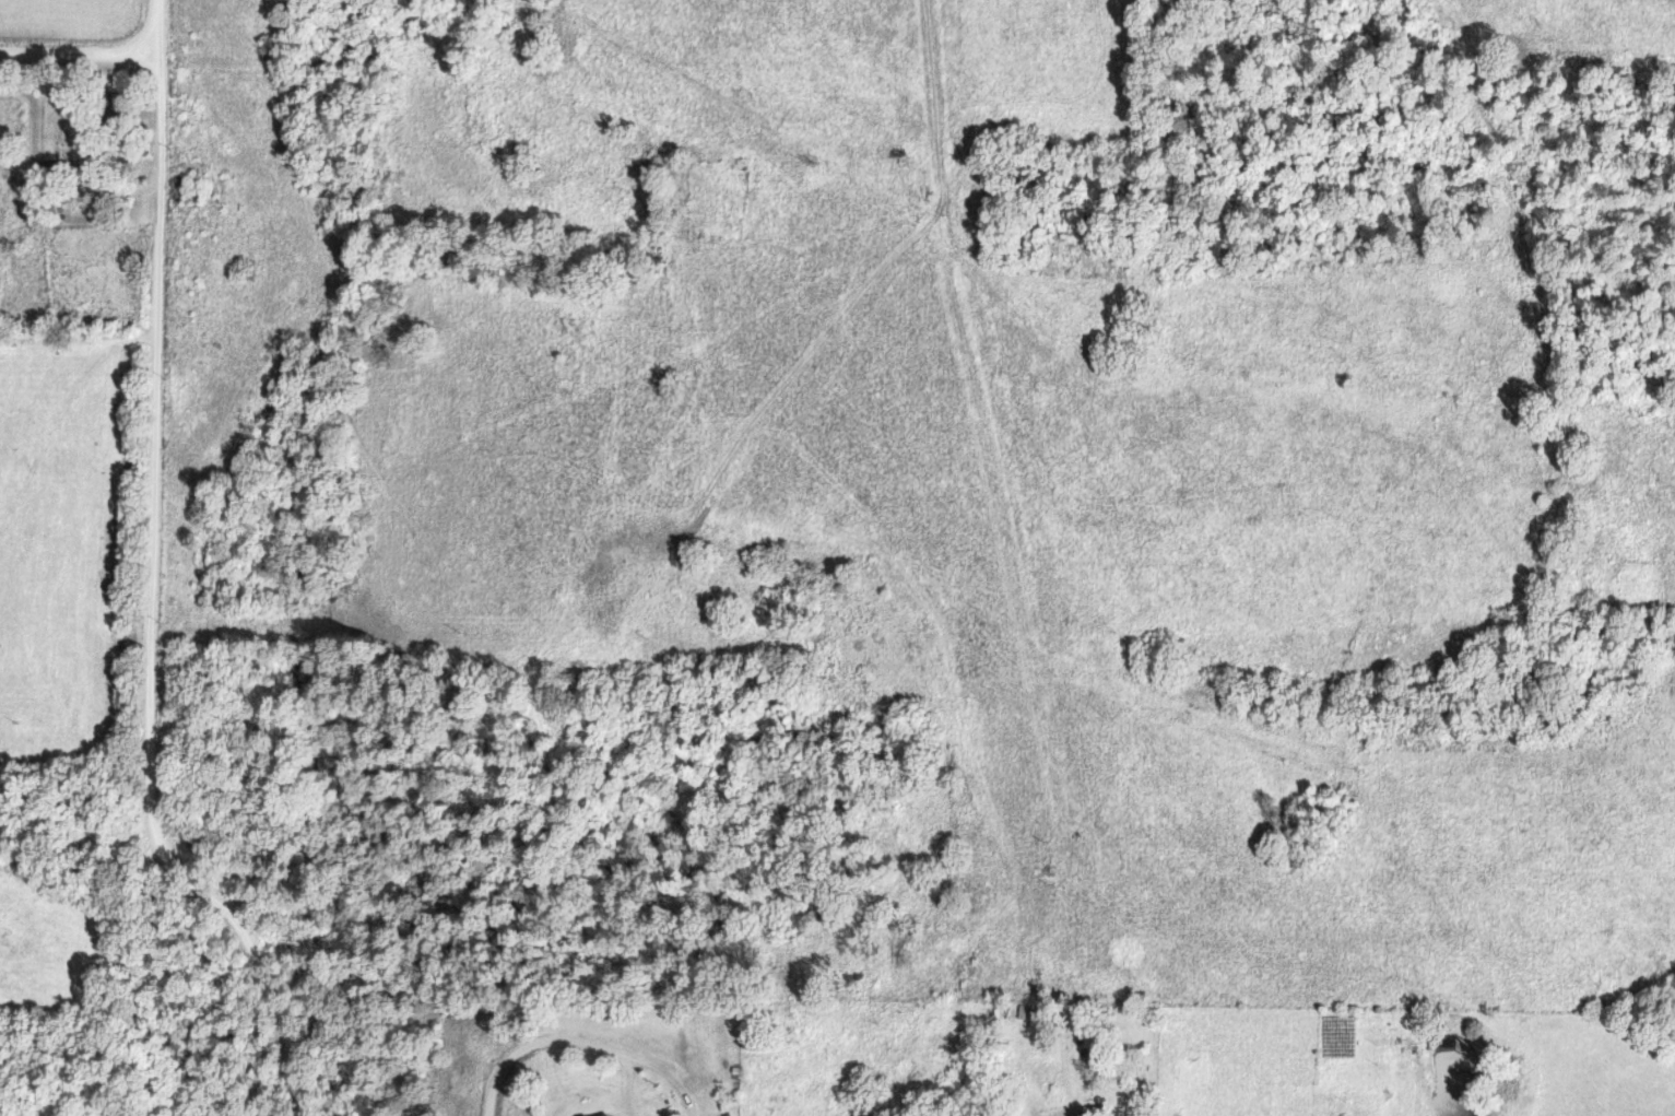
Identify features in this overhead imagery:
road: (79, 54)
building: (49, 169)
road: (149, 585)
road: (583, 1039)
building: (603, 1114)
building: (583, 1115)

